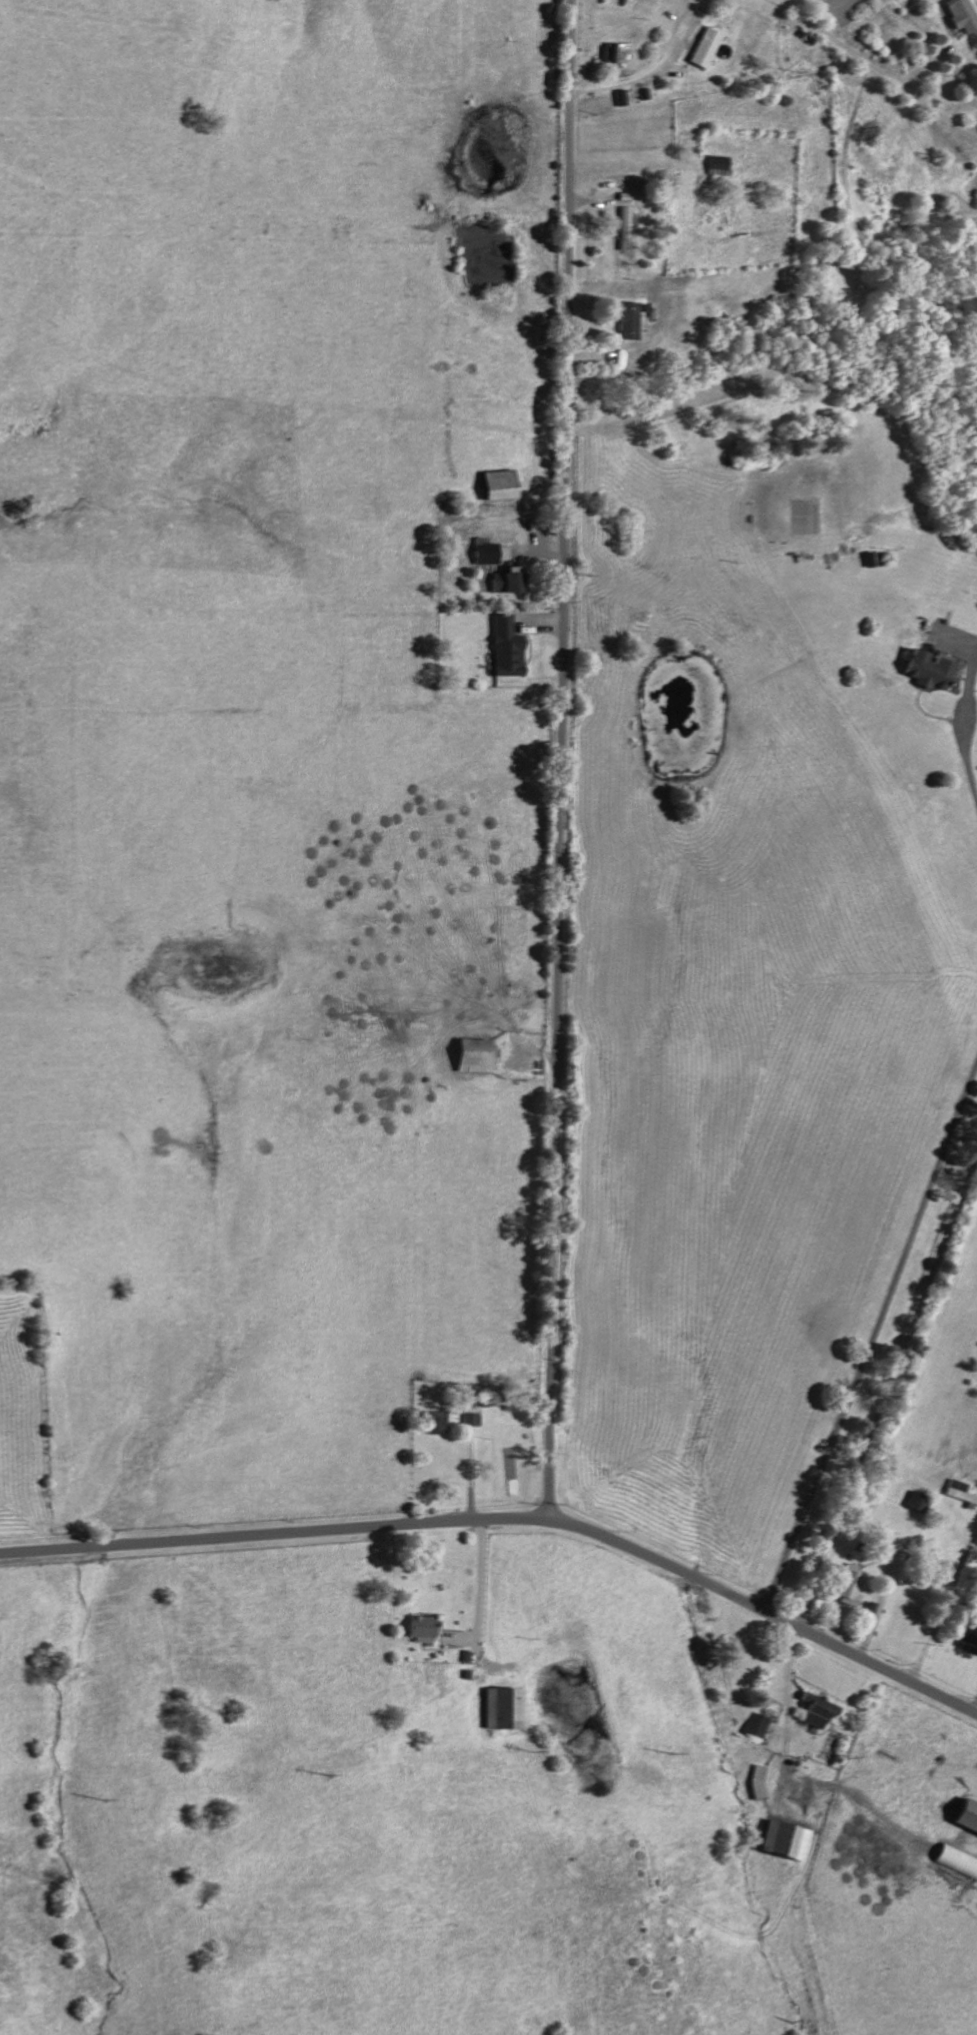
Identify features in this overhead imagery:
building: (961, 14)
building: (706, 48)
building: (620, 53)
road: (649, 68)
road: (877, 73)
building: (625, 229)
building: (628, 321)
building: (498, 485)
building: (485, 554)
building: (506, 581)
building: (506, 648)
building: (926, 670)
road: (963, 739)
road: (566, 760)
building: (473, 1055)
road: (871, 1337)
road: (885, 1380)
building: (435, 1420)
building: (916, 1502)
road: (509, 1519)
road: (481, 1583)
building: (852, 1589)
road: (943, 1602)
building: (419, 1629)
road: (788, 1688)
building: (501, 1708)
road: (976, 1709)
building: (817, 1710)
building: (762, 1730)
building: (966, 1815)
building: (784, 1840)
building: (957, 1860)

